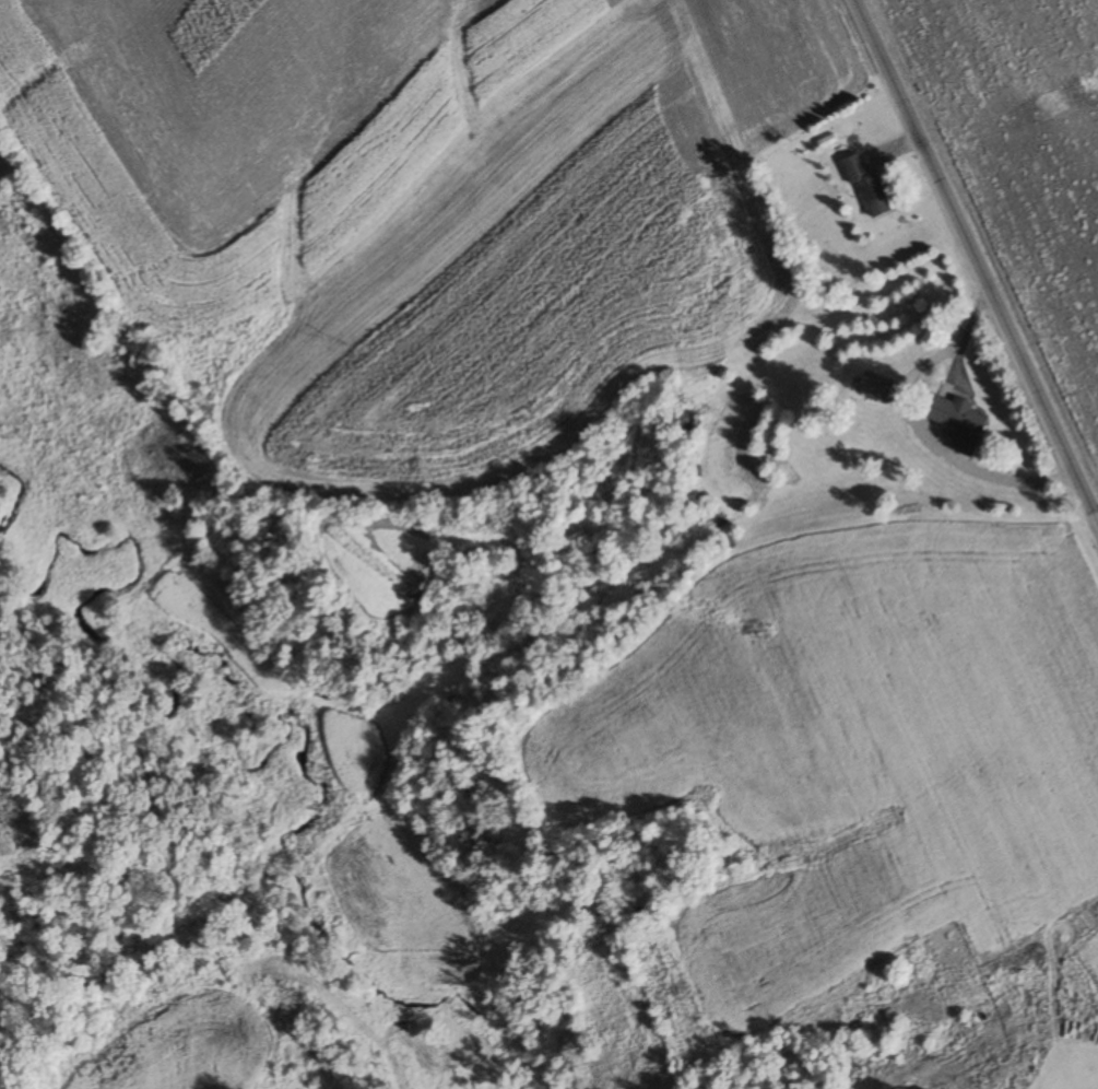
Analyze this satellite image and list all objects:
building: (866, 185)
road: (976, 265)
building: (875, 386)
building: (960, 424)

